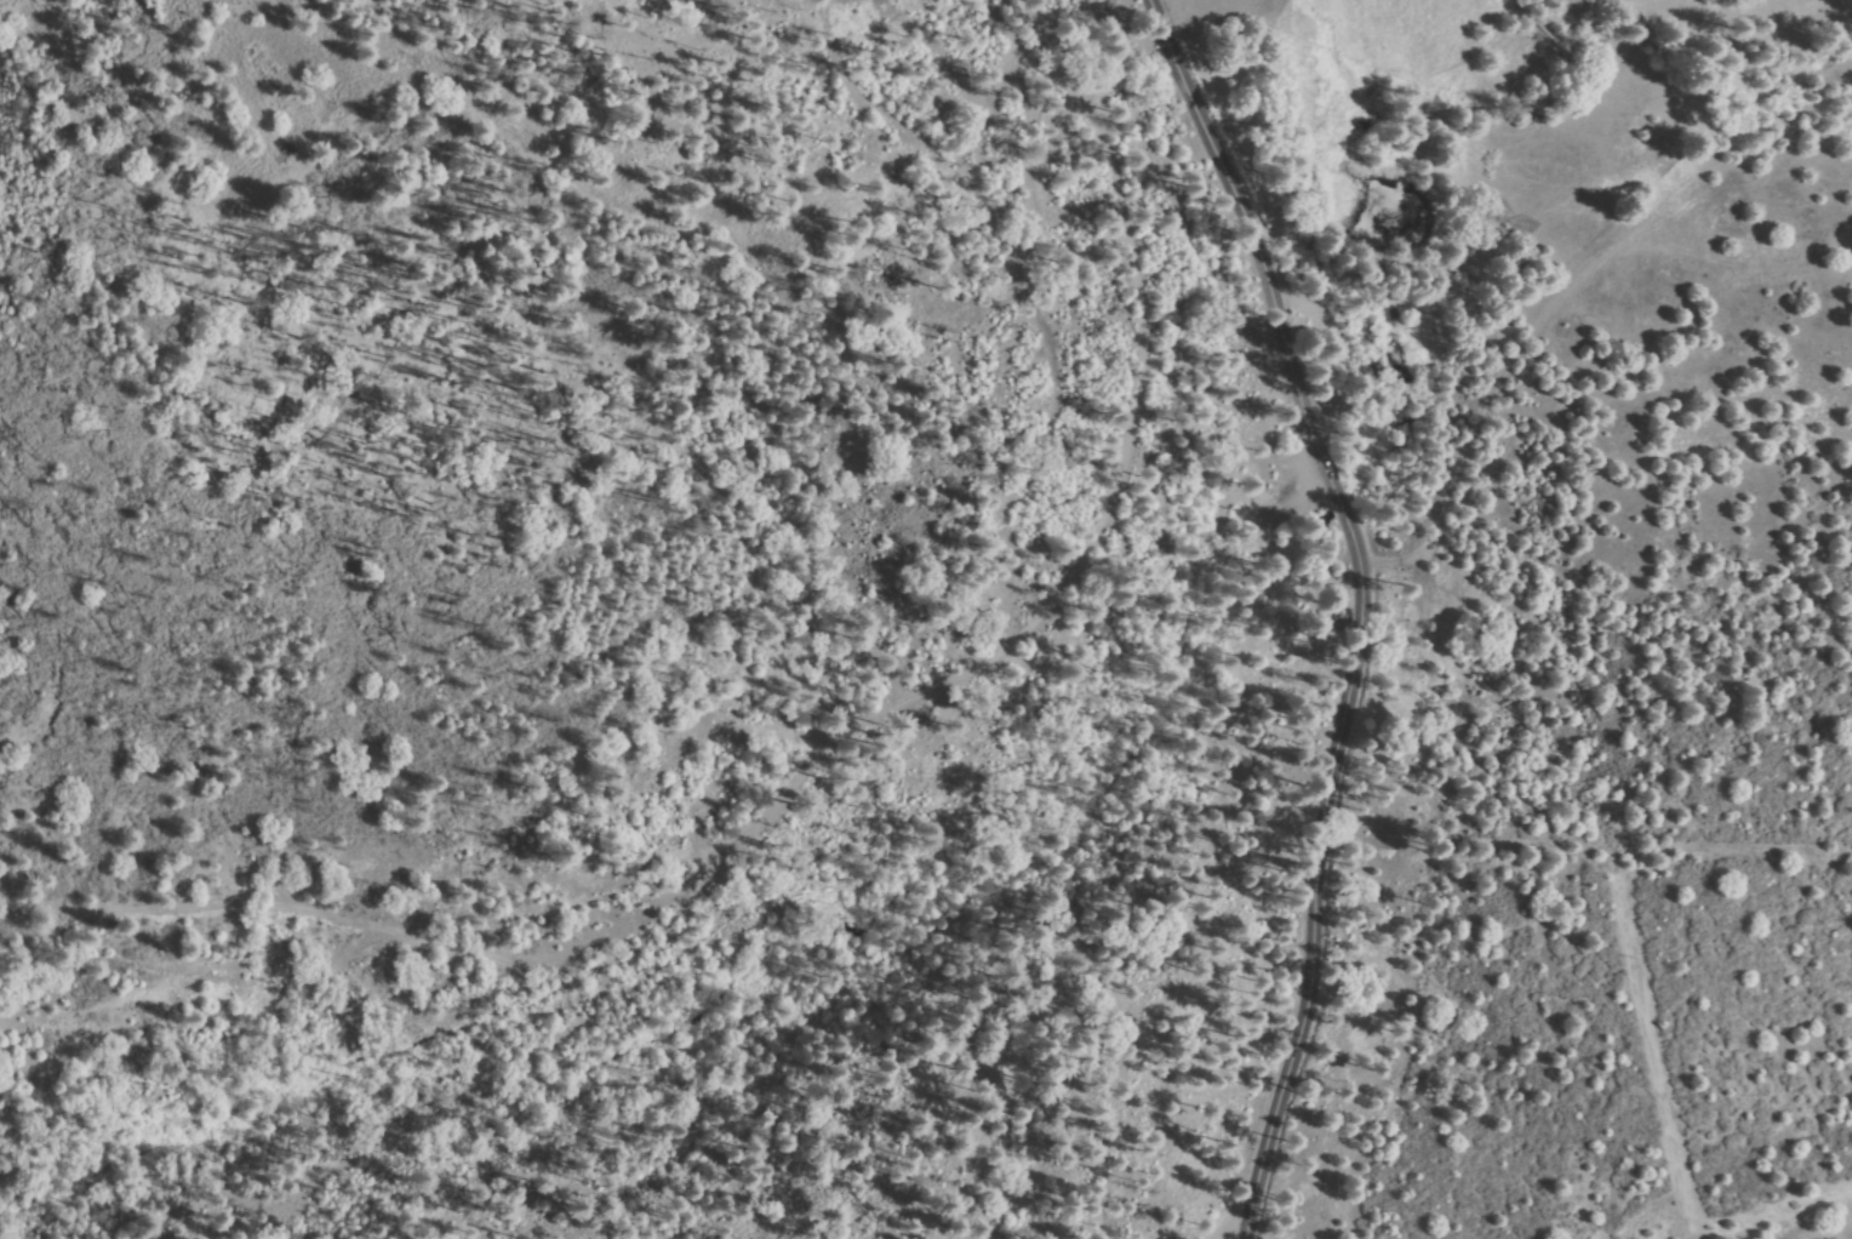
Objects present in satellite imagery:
road: (1371, 607)
road: (828, 748)

